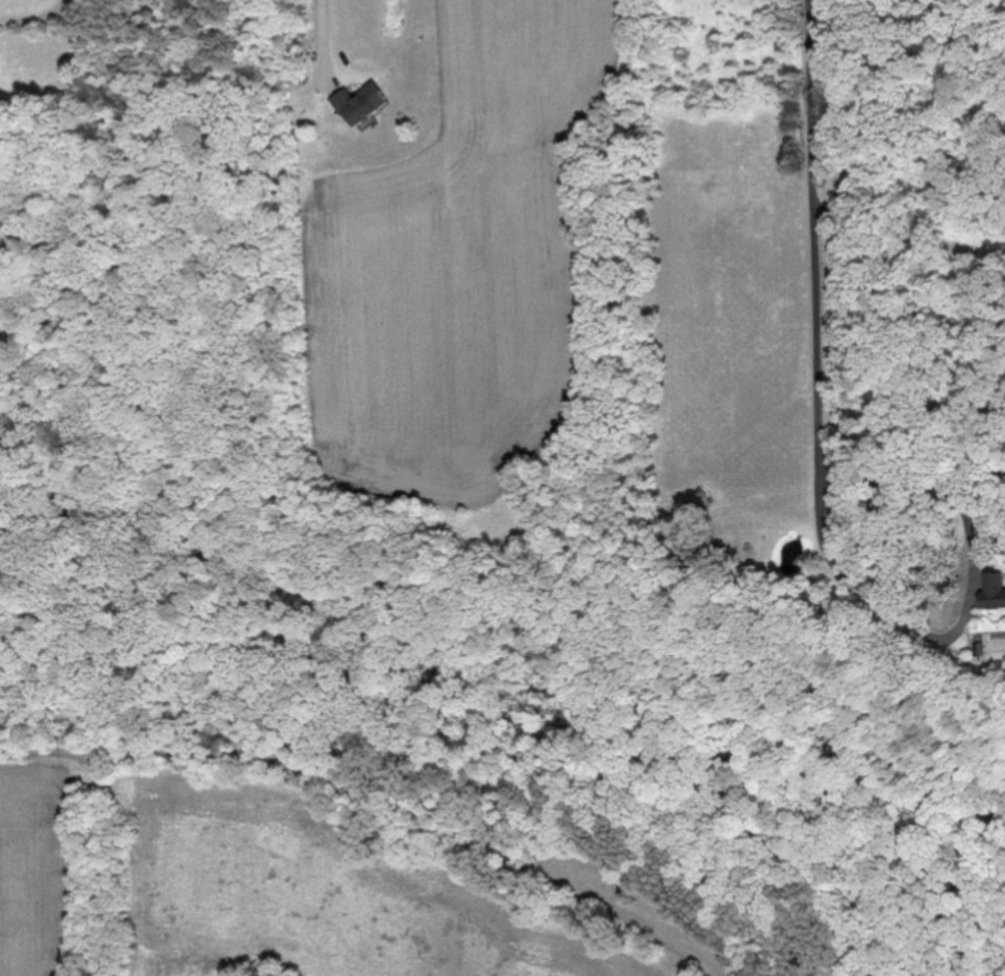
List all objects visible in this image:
road: (323, 36)
building: (363, 103)
road: (910, 235)
road: (817, 241)
building: (1, 442)
building: (995, 591)
road: (966, 609)
road: (380, 796)
road: (105, 863)

